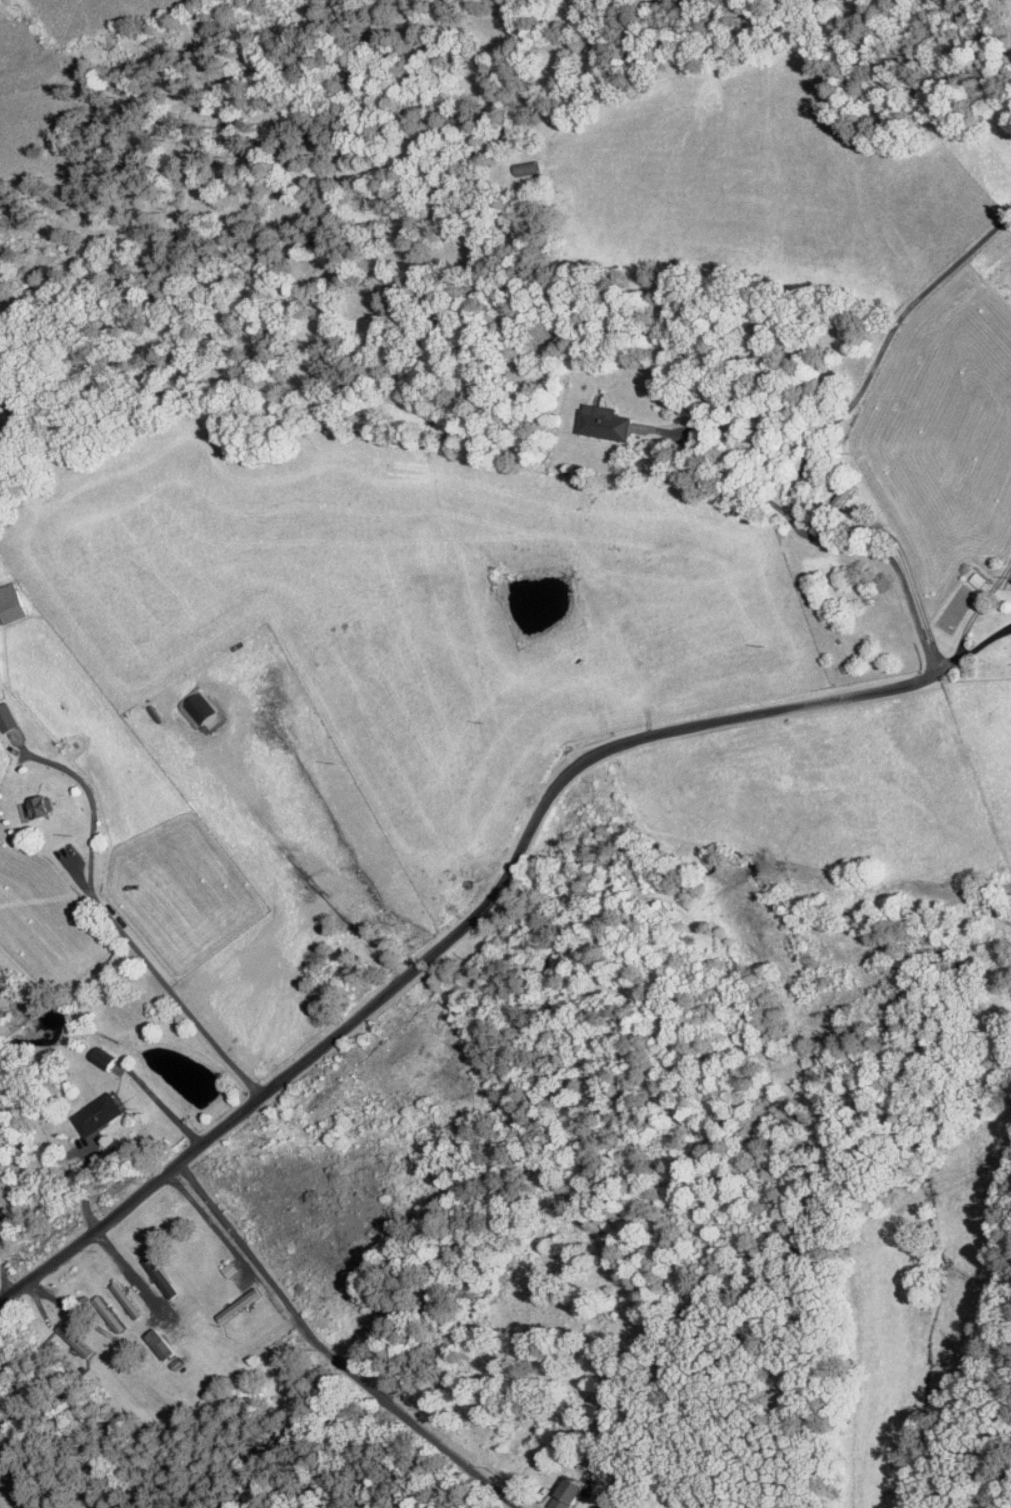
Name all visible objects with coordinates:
road: (765, 282)
road: (847, 420)
road: (805, 535)
road: (86, 783)
road: (300, 868)
road: (501, 884)
road: (165, 985)
road: (126, 1267)
road: (323, 1350)

